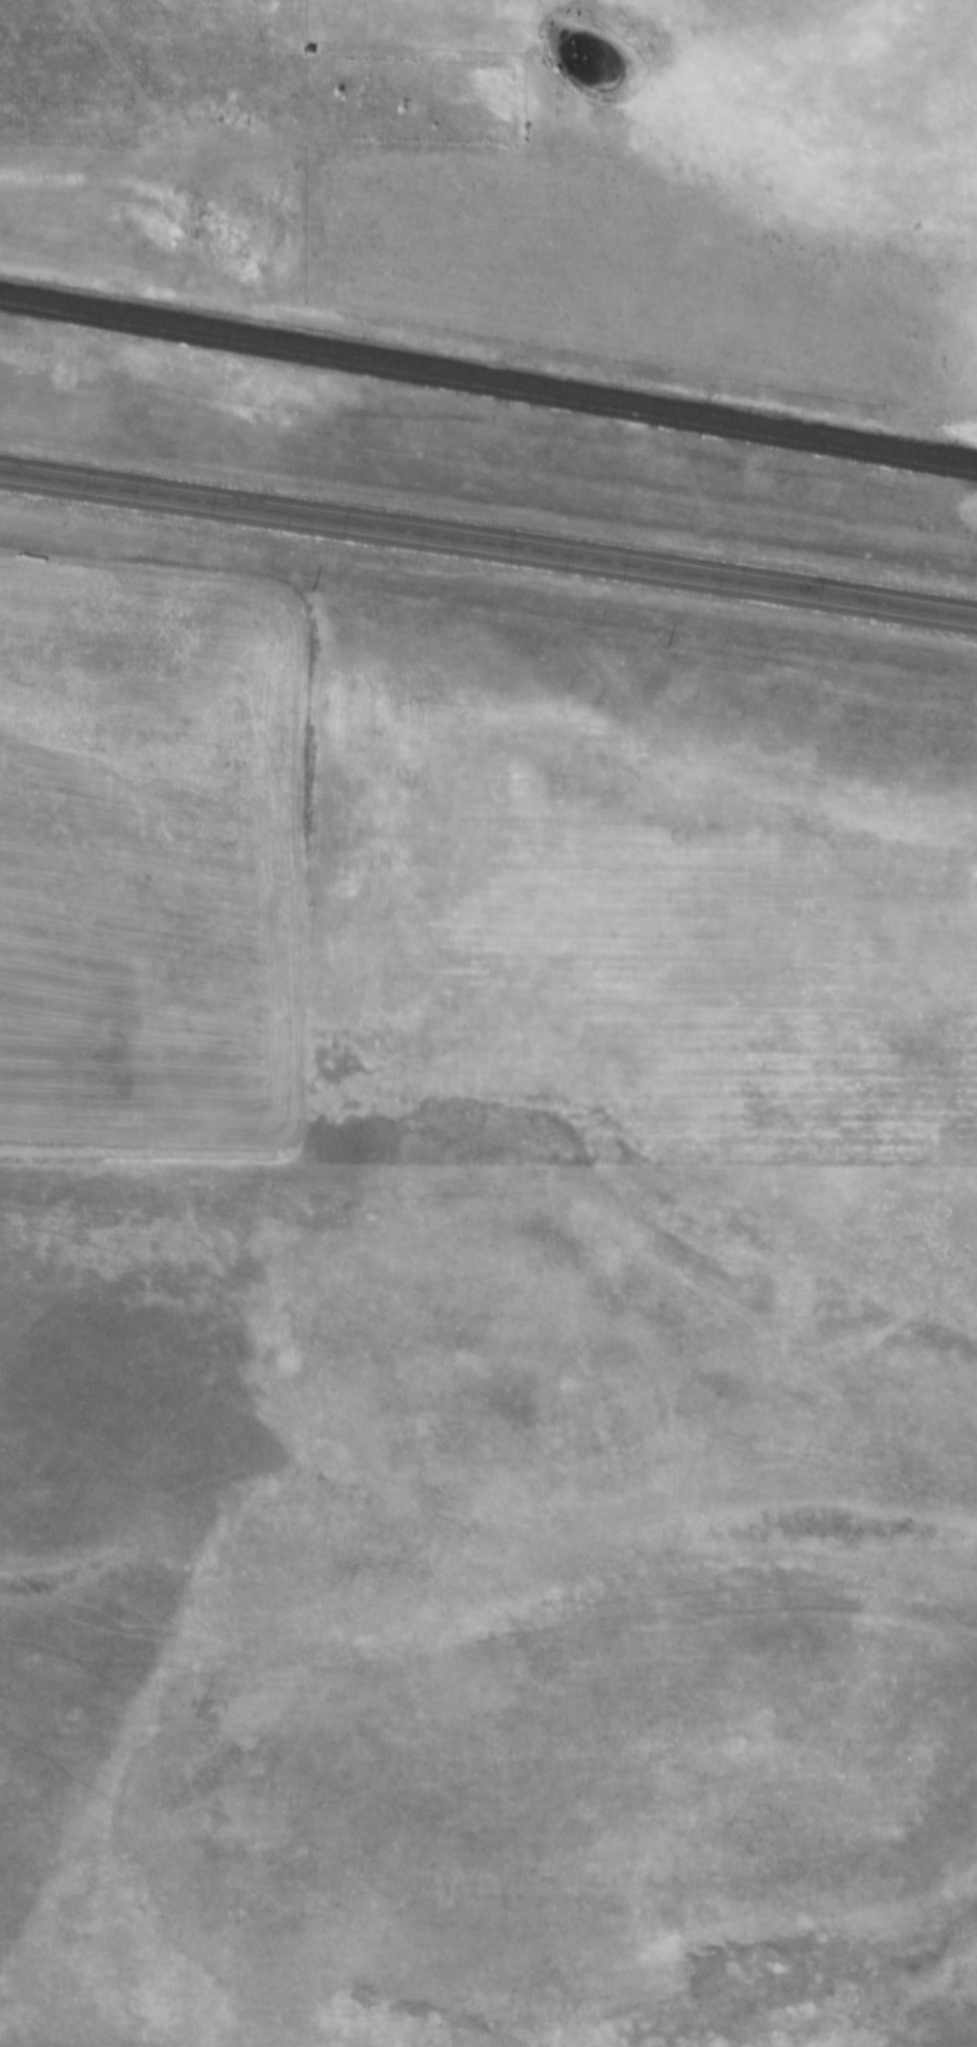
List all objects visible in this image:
railway: (488, 375)
railway: (488, 388)
road: (488, 541)

